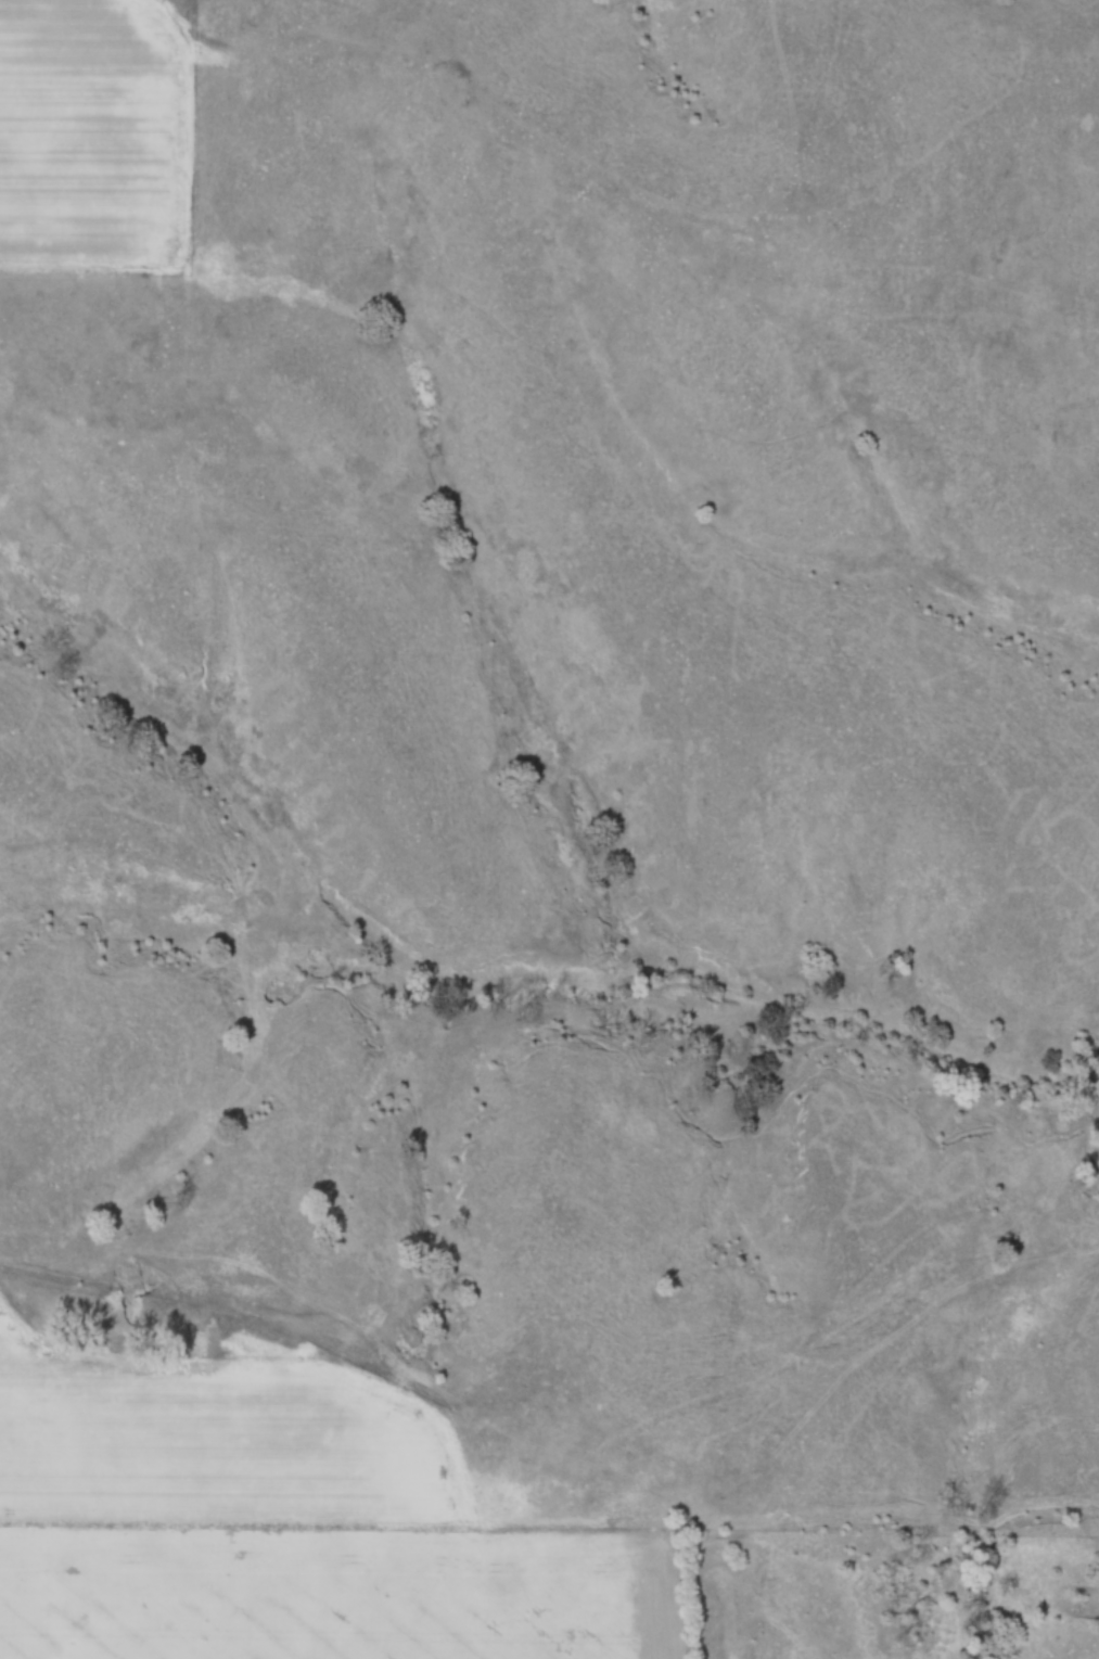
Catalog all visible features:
crop: (82, 122)
crop: (206, 1457)
airport: (341, 1597)

